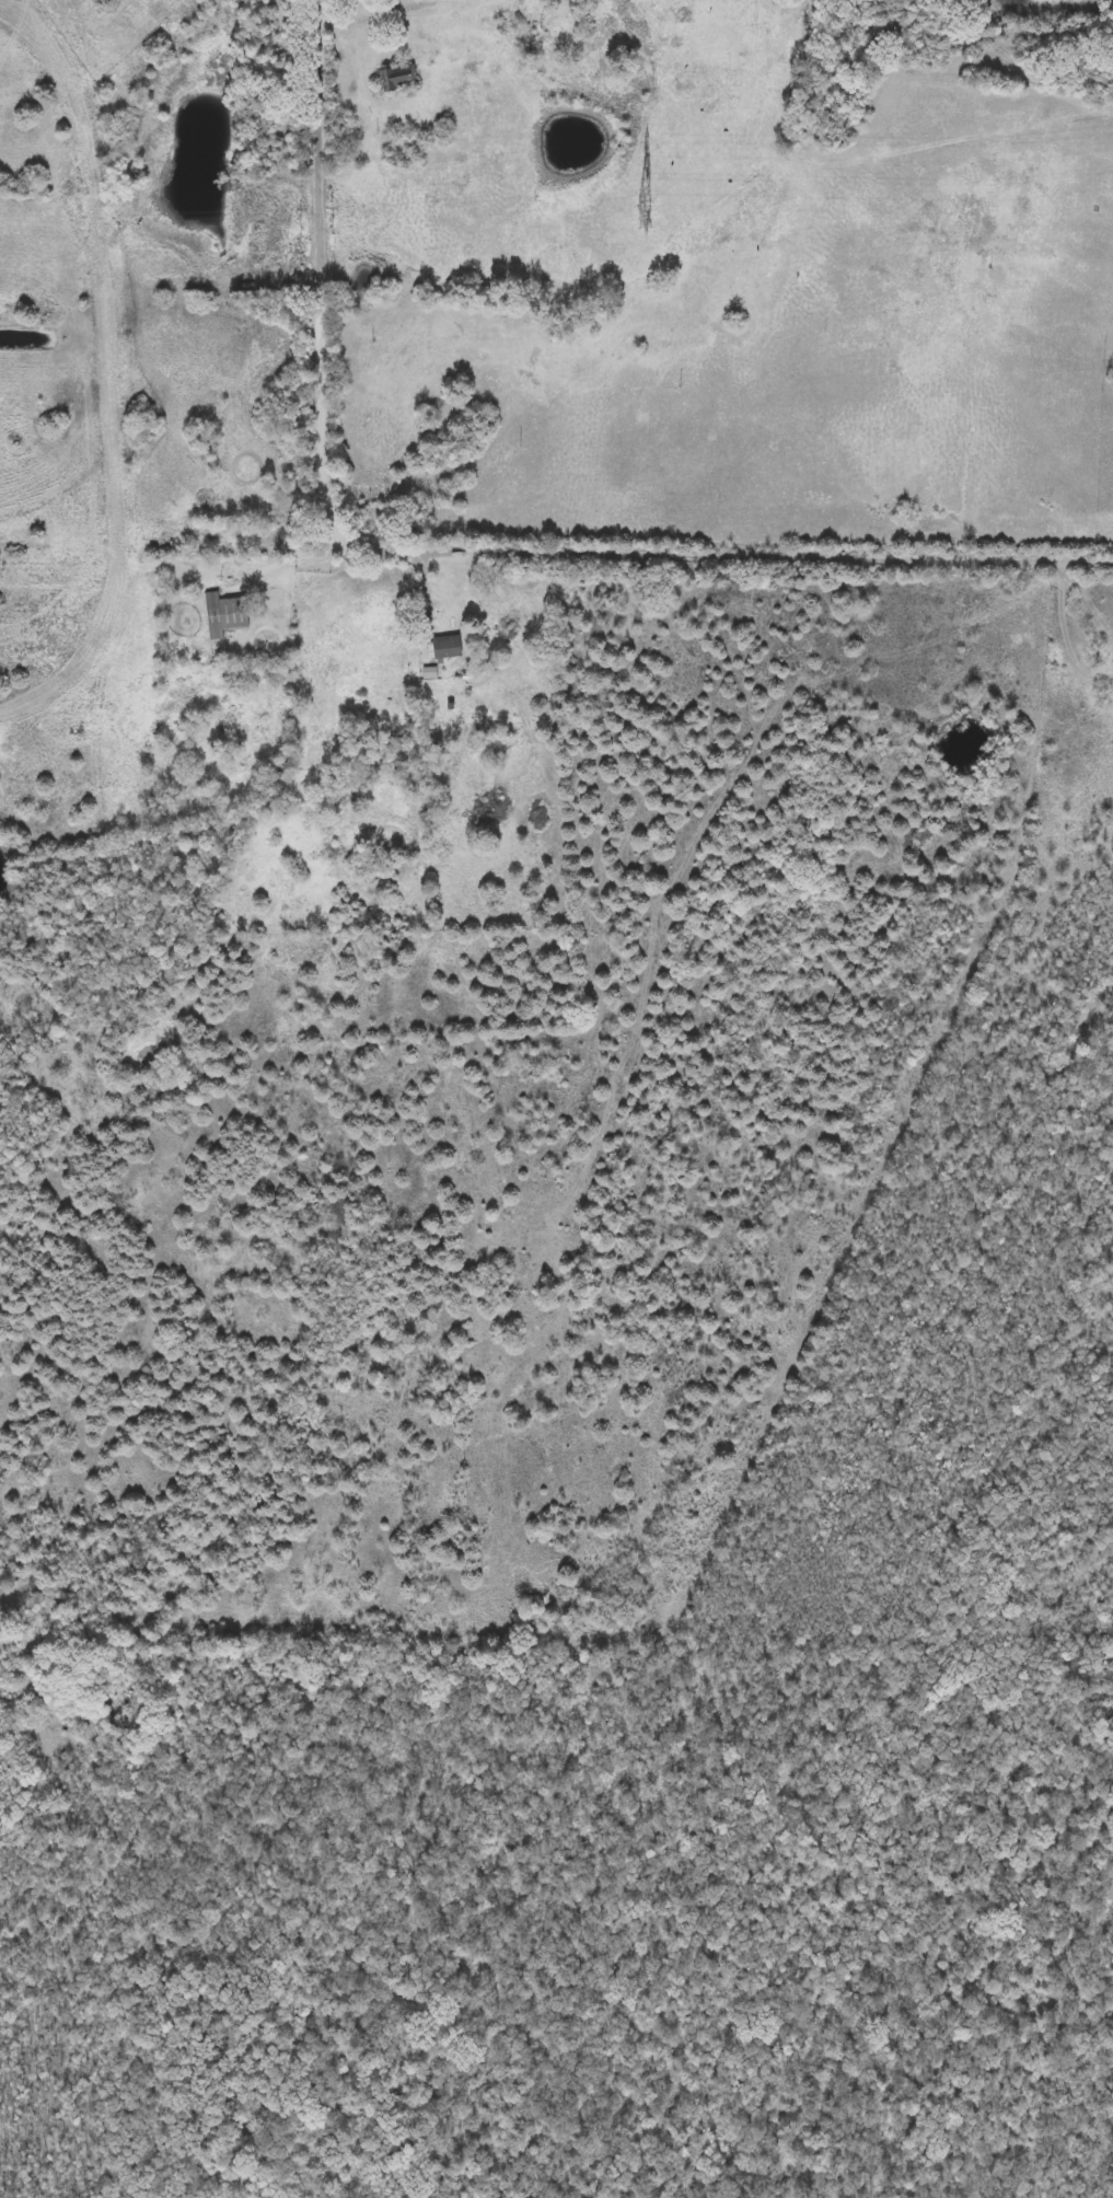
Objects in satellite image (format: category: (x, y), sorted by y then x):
building: (397, 78)
power tower: (645, 217)
road: (322, 267)
road: (729, 554)
road: (289, 563)
road: (428, 588)
building: (225, 614)
building: (447, 647)

